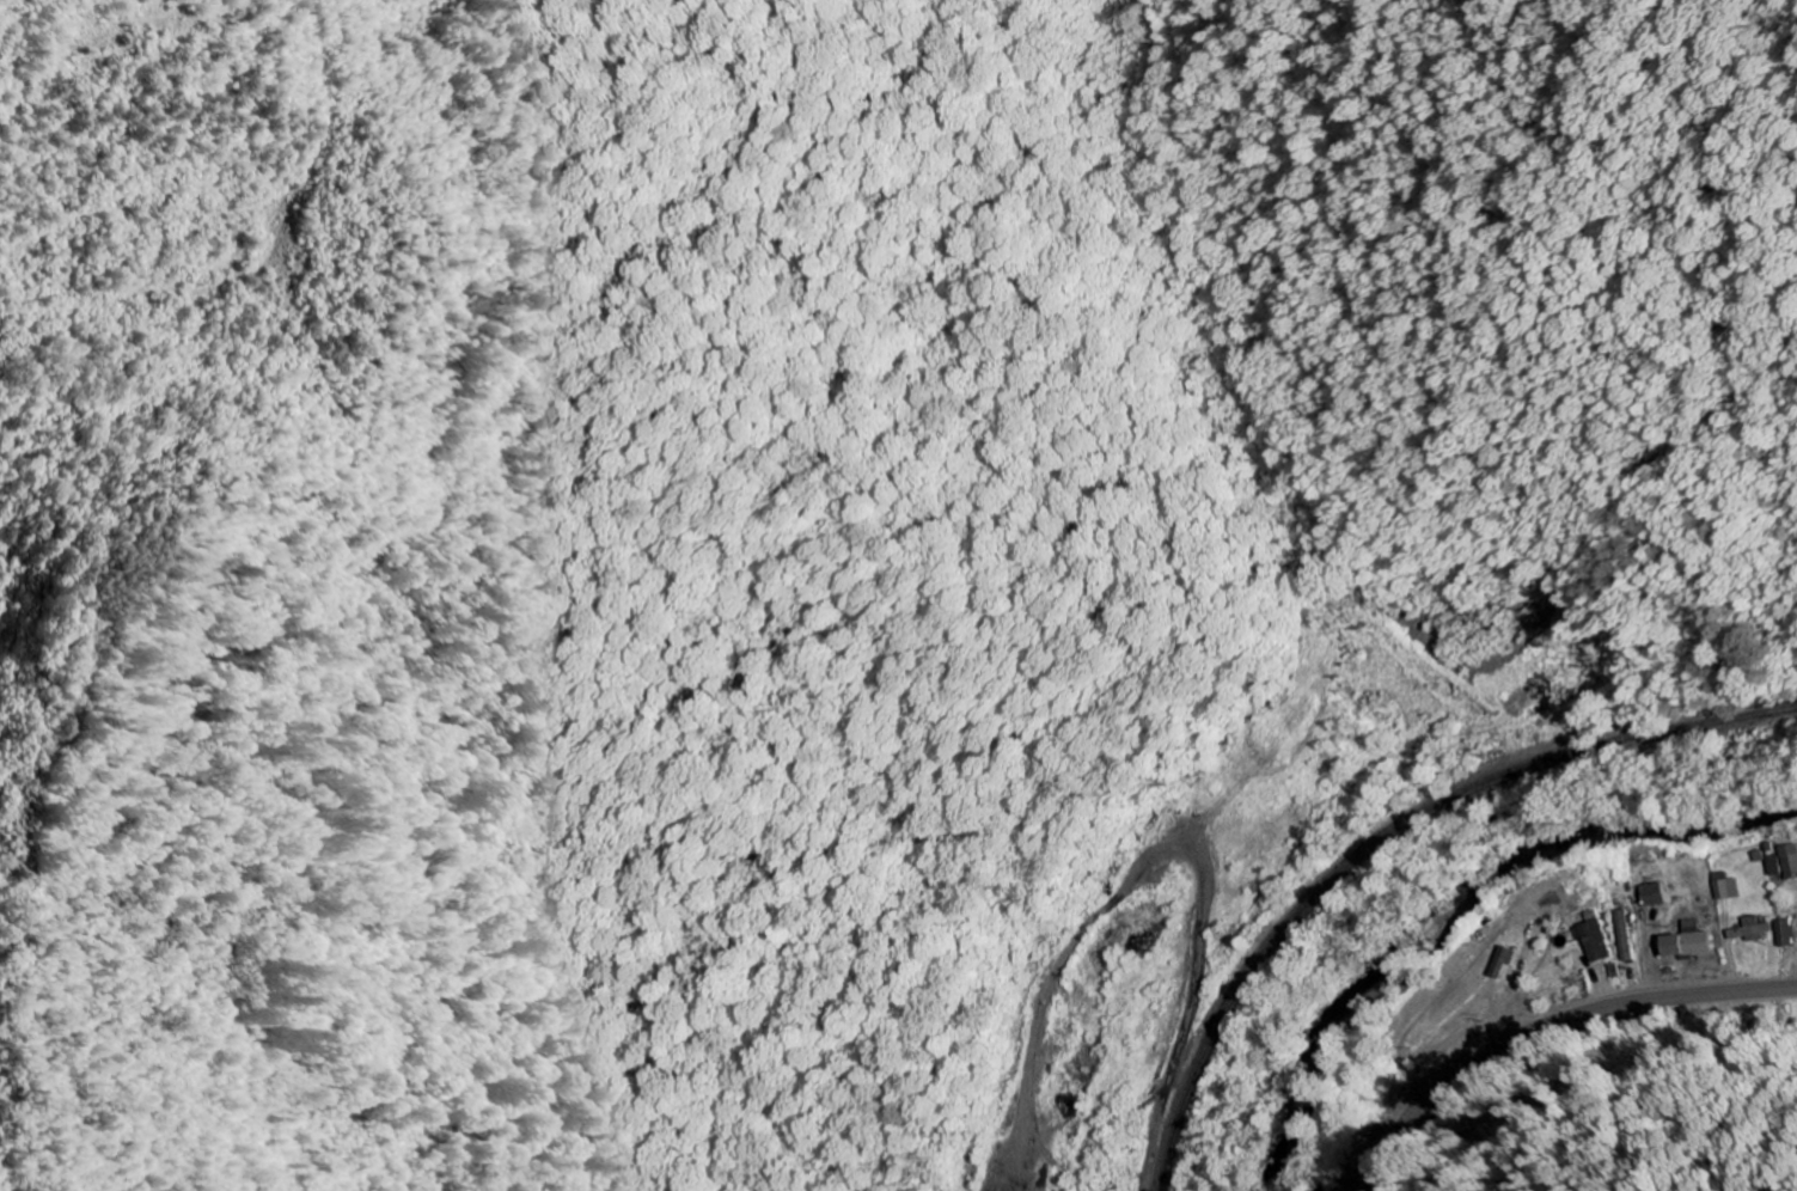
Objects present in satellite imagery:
railway: (1388, 837)
building: (1789, 862)
building: (1773, 866)
building: (1726, 891)
building: (1652, 896)
building: (1749, 932)
building: (1784, 934)
building: (1624, 936)
building: (1687, 942)
building: (1500, 964)
road: (1546, 1027)

